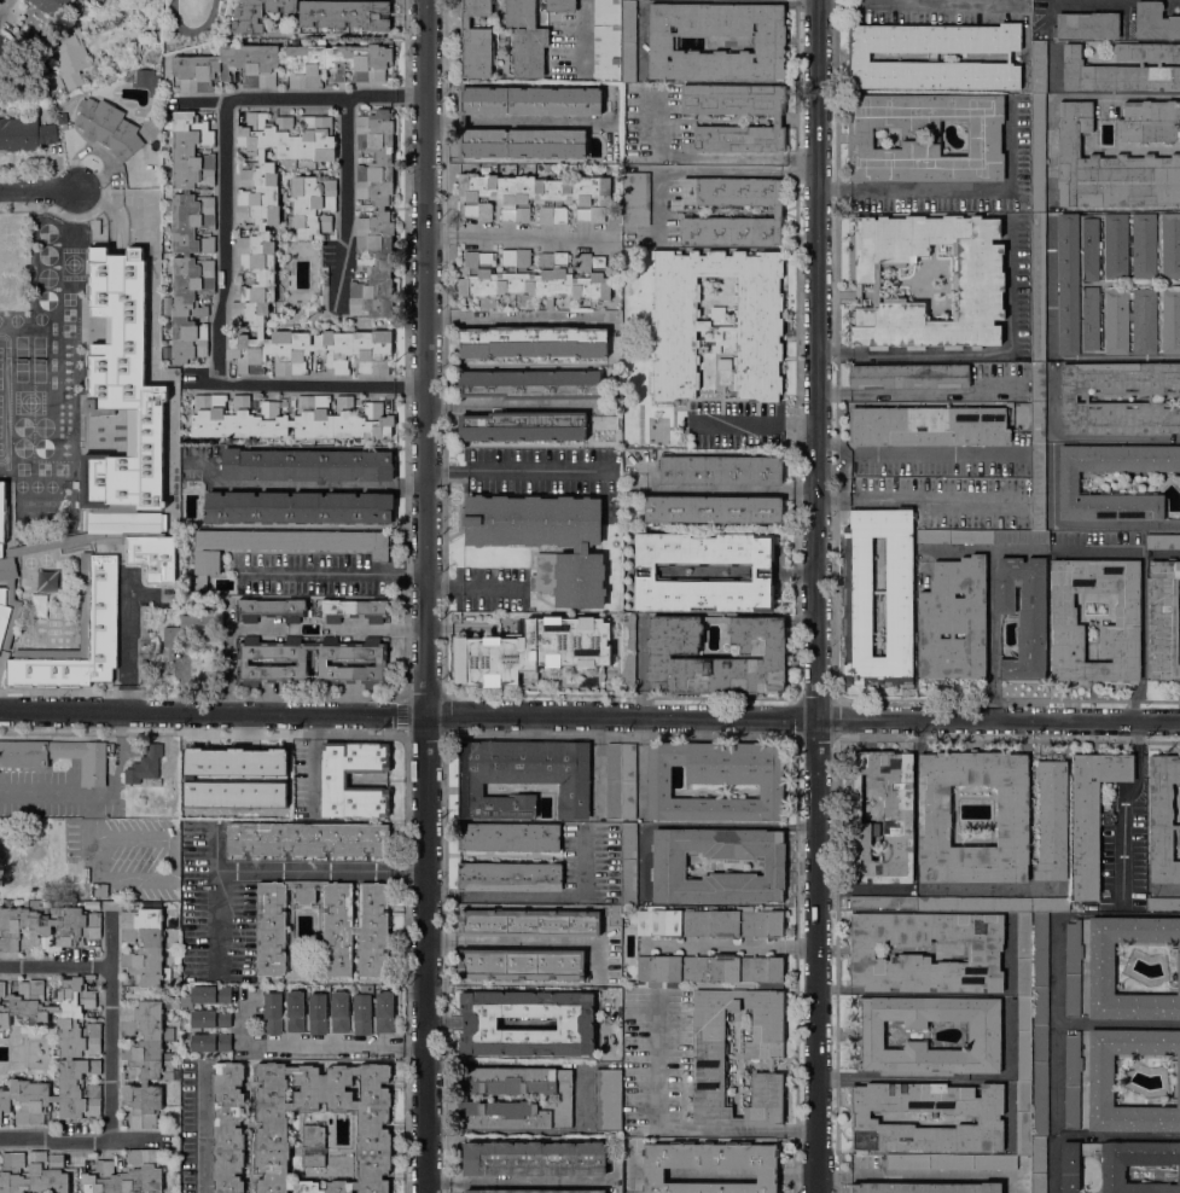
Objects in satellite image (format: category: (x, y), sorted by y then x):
road: (923, 4)
building: (51, 5)
building: (559, 5)
building: (257, 13)
building: (345, 13)
building: (1155, 21)
building: (1086, 25)
road: (582, 31)
building: (525, 37)
building: (476, 40)
building: (606, 40)
building: (628, 40)
building: (769, 40)
building: (859, 57)
building: (66, 58)
building: (1037, 66)
building: (203, 68)
building: (1123, 69)
building: (60, 103)
building: (63, 118)
building: (777, 120)
building: (1150, 121)
building: (461, 122)
building: (107, 128)
building: (24, 134)
building: (983, 138)
building: (1037, 153)
road: (708, 155)
building: (1109, 169)
road: (709, 170)
road: (963, 187)
road: (37, 192)
building: (534, 197)
building: (634, 198)
road: (345, 202)
building: (313, 205)
building: (777, 214)
building: (374, 217)
road: (72, 221)
building: (191, 234)
road: (517, 237)
building: (1144, 245)
building: (1170, 245)
road: (223, 246)
building: (255, 246)
building: (1115, 246)
building: (1089, 249)
building: (531, 277)
building: (1068, 283)
building: (977, 286)
building: (1037, 287)
road: (519, 318)
building: (1091, 318)
building: (1116, 321)
building: (1144, 321)
building: (1170, 321)
building: (716, 322)
building: (531, 342)
road: (986, 354)
road: (1116, 355)
building: (723, 363)
building: (908, 376)
road: (200, 384)
building: (530, 384)
road: (918, 391)
building: (1074, 398)
building: (1037, 402)
road: (506, 406)
building: (286, 418)
road: (733, 418)
road: (797, 418)
building: (928, 425)
building: (523, 426)
building: (144, 432)
building: (169, 441)
road: (920, 453)
building: (306, 465)
road: (510, 467)
building: (720, 471)
building: (1069, 482)
road: (306, 487)
building: (1037, 487)
road: (743, 489)
road: (913, 491)
building: (297, 507)
building: (713, 510)
building: (1, 514)
road: (1077, 524)
building: (953, 536)
building: (1019, 536)
building: (545, 540)
building: (1162, 541)
building: (280, 545)
road: (406, 551)
road: (1166, 554)
building: (761, 571)
road: (321, 575)
road: (412, 580)
road: (475, 586)
road: (428, 595)
road: (822, 596)
building: (858, 596)
building: (98, 601)
building: (269, 610)
building: (354, 610)
building: (1023, 616)
building: (1063, 616)
building: (1164, 619)
building: (953, 621)
building: (586, 622)
building: (192, 627)
road: (992, 635)
building: (492, 640)
road: (126, 642)
building: (521, 642)
building: (627, 650)
building: (587, 651)
building: (533, 654)
building: (773, 656)
building: (460, 659)
building: (553, 660)
building: (380, 662)
building: (586, 662)
building: (492, 680)
road: (446, 714)
road: (406, 716)
road: (589, 717)
building: (57, 756)
road: (313, 761)
road: (406, 761)
building: (145, 766)
building: (267, 774)
building: (522, 776)
building: (333, 780)
building: (614, 780)
building: (628, 780)
building: (716, 780)
road: (56, 791)
building: (899, 799)
building: (173, 813)
building: (1092, 814)
building: (1163, 819)
building: (934, 820)
building: (1052, 820)
building: (508, 837)
building: (307, 839)
road: (215, 846)
building: (37, 861)
building: (668, 862)
building: (628, 865)
road: (272, 867)
building: (72, 874)
building: (86, 875)
building: (508, 877)
road: (935, 888)
building: (94, 889)
road: (540, 894)
building: (882, 903)
building: (973, 903)
building: (1050, 903)
building: (1162, 903)
building: (529, 923)
building: (708, 923)
building: (47, 925)
building: (325, 926)
road: (529, 943)
road: (729, 943)
building: (143, 945)
building: (983, 953)
building: (1024, 953)
building: (521, 964)
building: (1040, 966)
building: (1073, 968)
building: (1100, 968)
building: (707, 970)
road: (1056, 970)
building: (1, 989)
building: (207, 995)
building: (295, 1011)
building: (339, 1012)
building: (384, 1012)
building: (272, 1013)
building: (318, 1013)
building: (361, 1013)
building: (210, 1018)
building: (575, 1023)
building: (983, 1035)
building: (1024, 1037)
road: (314, 1041)
building: (210, 1042)
building: (80, 1051)
road: (107, 1051)
building: (763, 1055)
building: (144, 1060)
road: (951, 1077)
building: (1040, 1081)
building: (1071, 1081)
building: (1100, 1081)
building: (513, 1098)
building: (608, 1099)
building: (988, 1117)
building: (1023, 1117)
building: (227, 1127)
road: (203, 1128)
building: (272, 1128)
road: (672, 1130)
building: (312, 1145)
building: (534, 1158)
building: (949, 1162)
building: (1037, 1164)
building: (1120, 1164)
building: (710, 1165)
building: (33, 1174)
building: (124, 1174)
road: (920, 1175)
road: (516, 1181)
building: (924, 1187)
building: (529, 1191)

